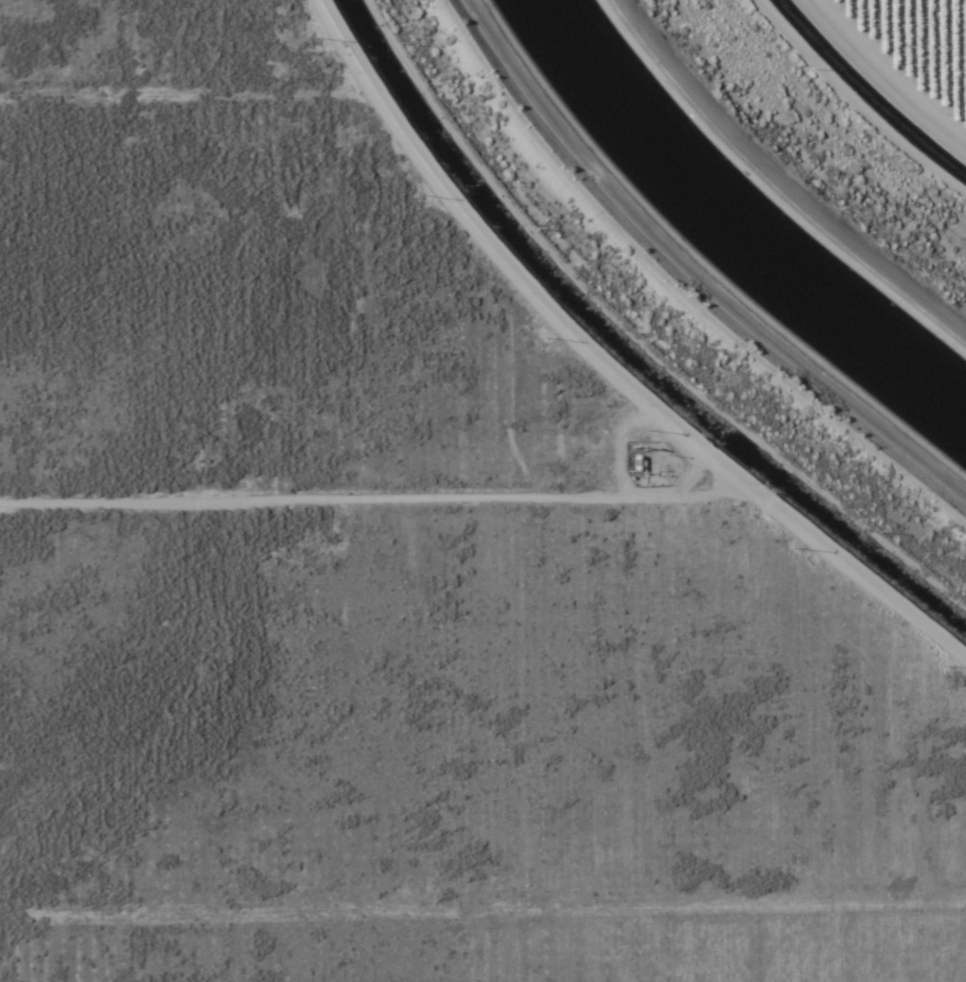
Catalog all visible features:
road: (696, 268)

